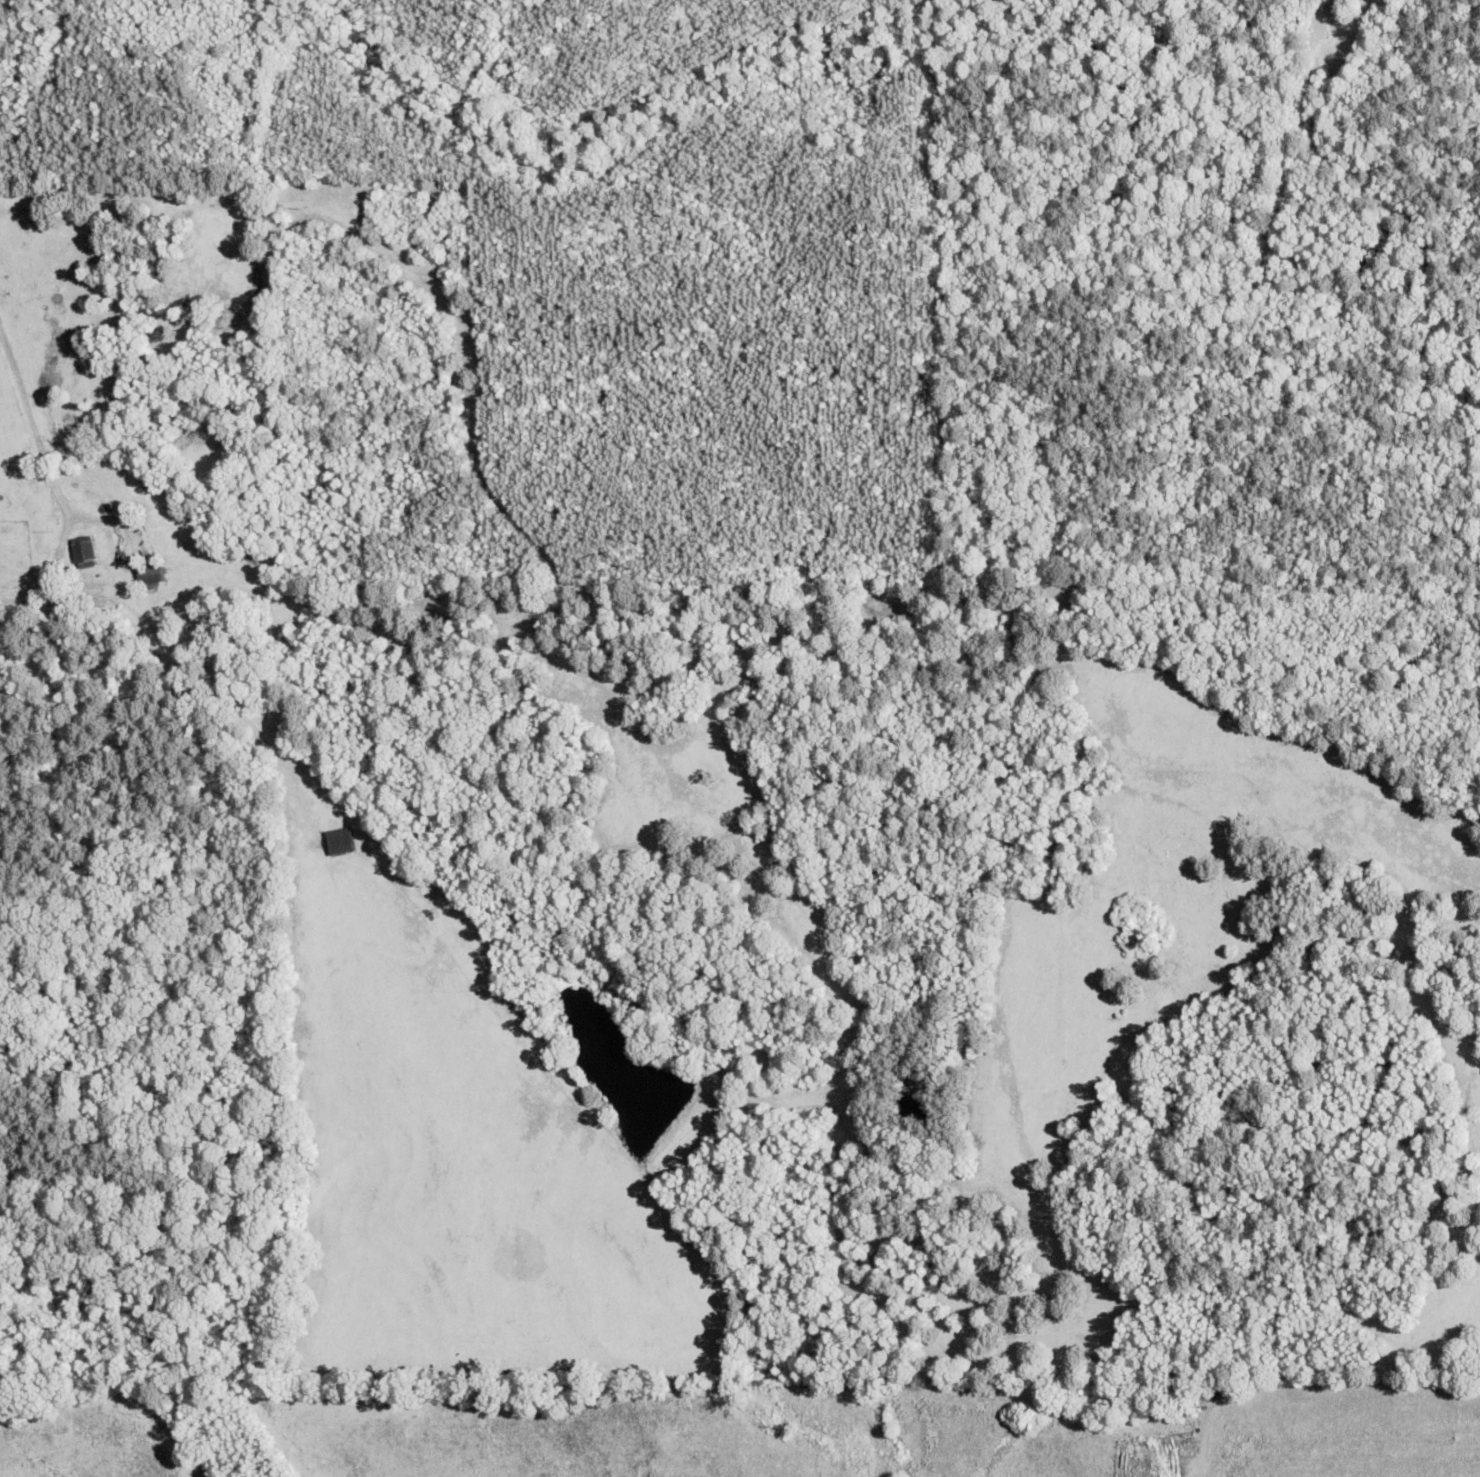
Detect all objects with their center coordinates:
road: (31, 420)
building: (81, 553)
building: (146, 575)
building: (337, 840)

